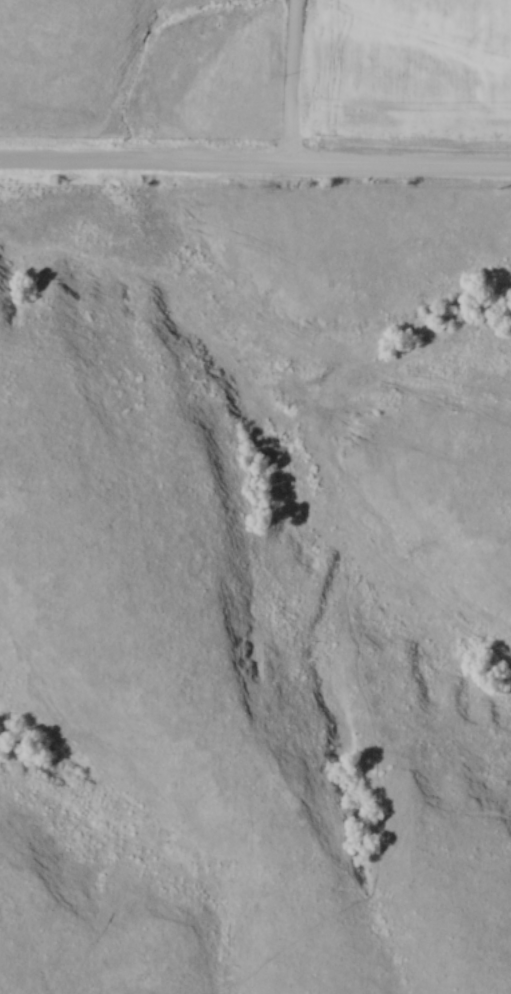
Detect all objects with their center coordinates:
road: (291, 86)
road: (255, 171)

